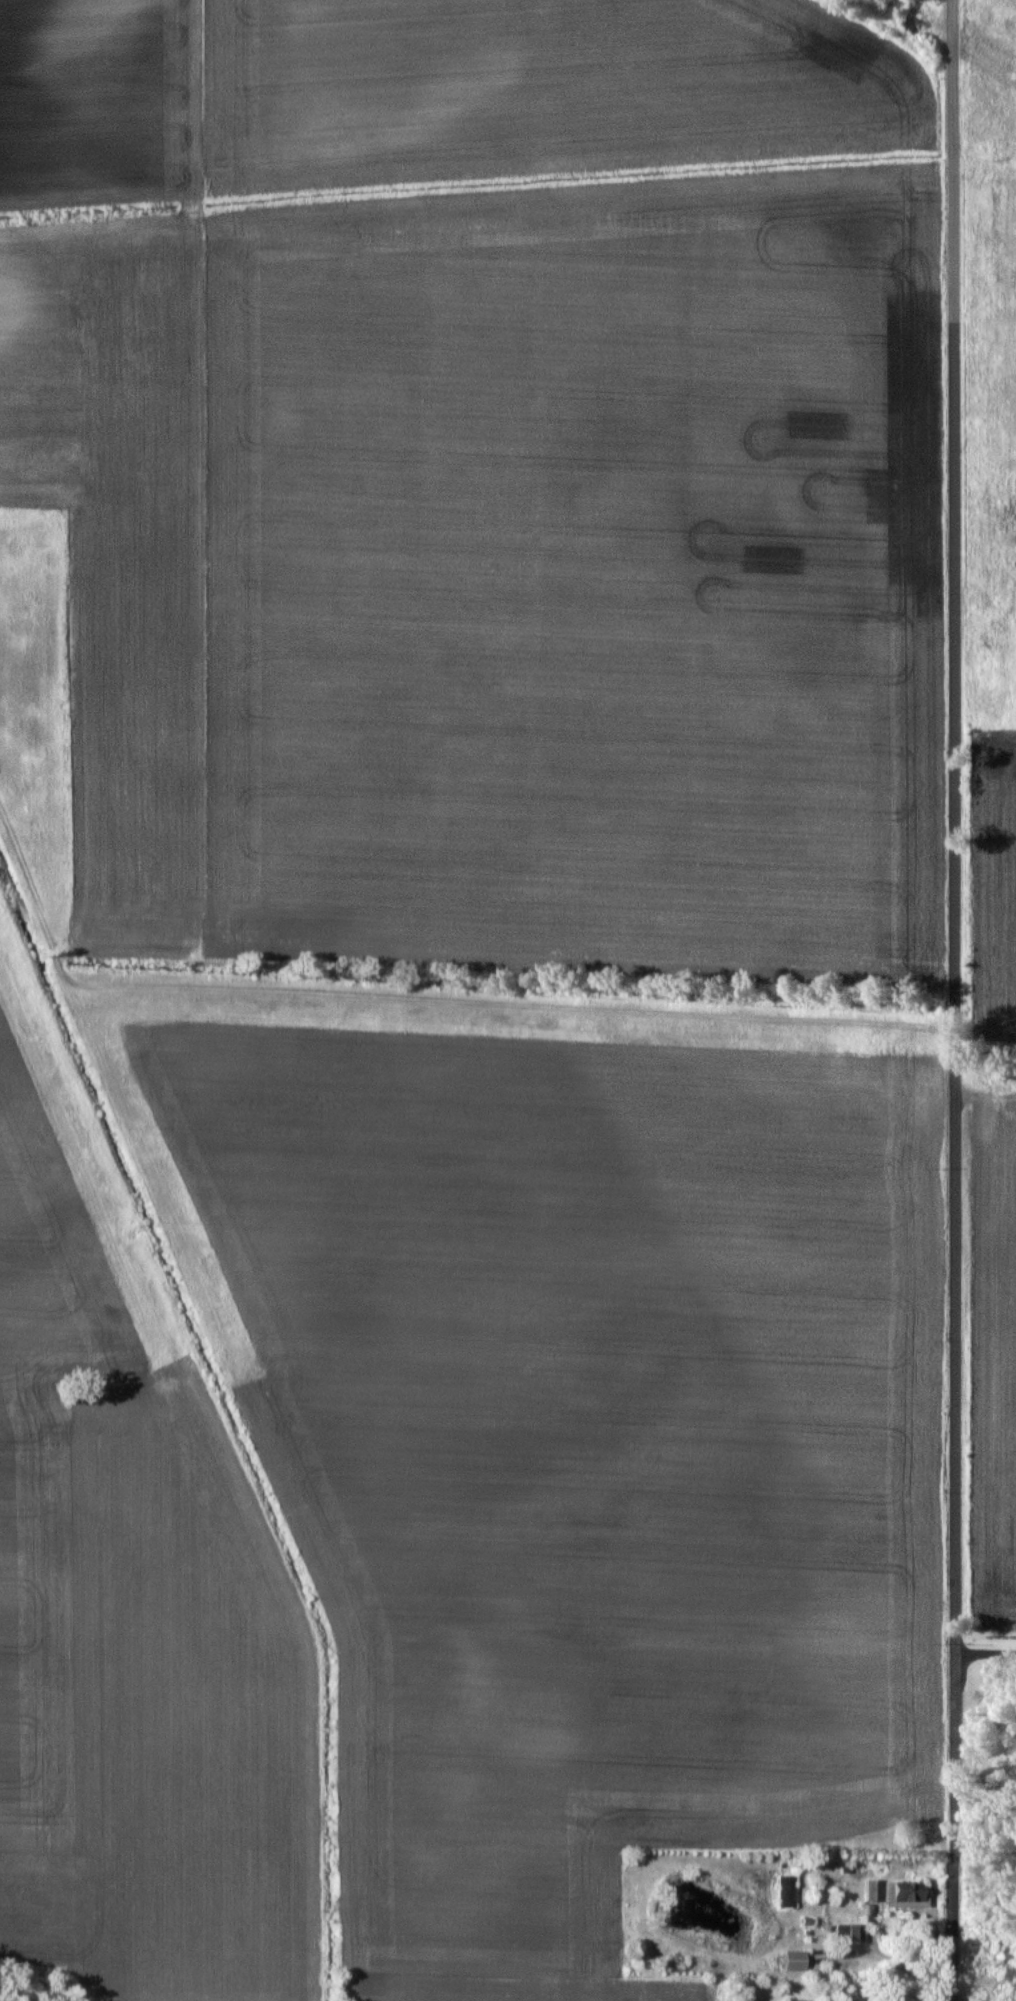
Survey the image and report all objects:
road: (955, 1000)
road: (987, 1654)
building: (873, 1890)
building: (787, 1891)
building: (907, 1894)
building: (849, 1931)
building: (791, 1959)
building: (835, 2000)

